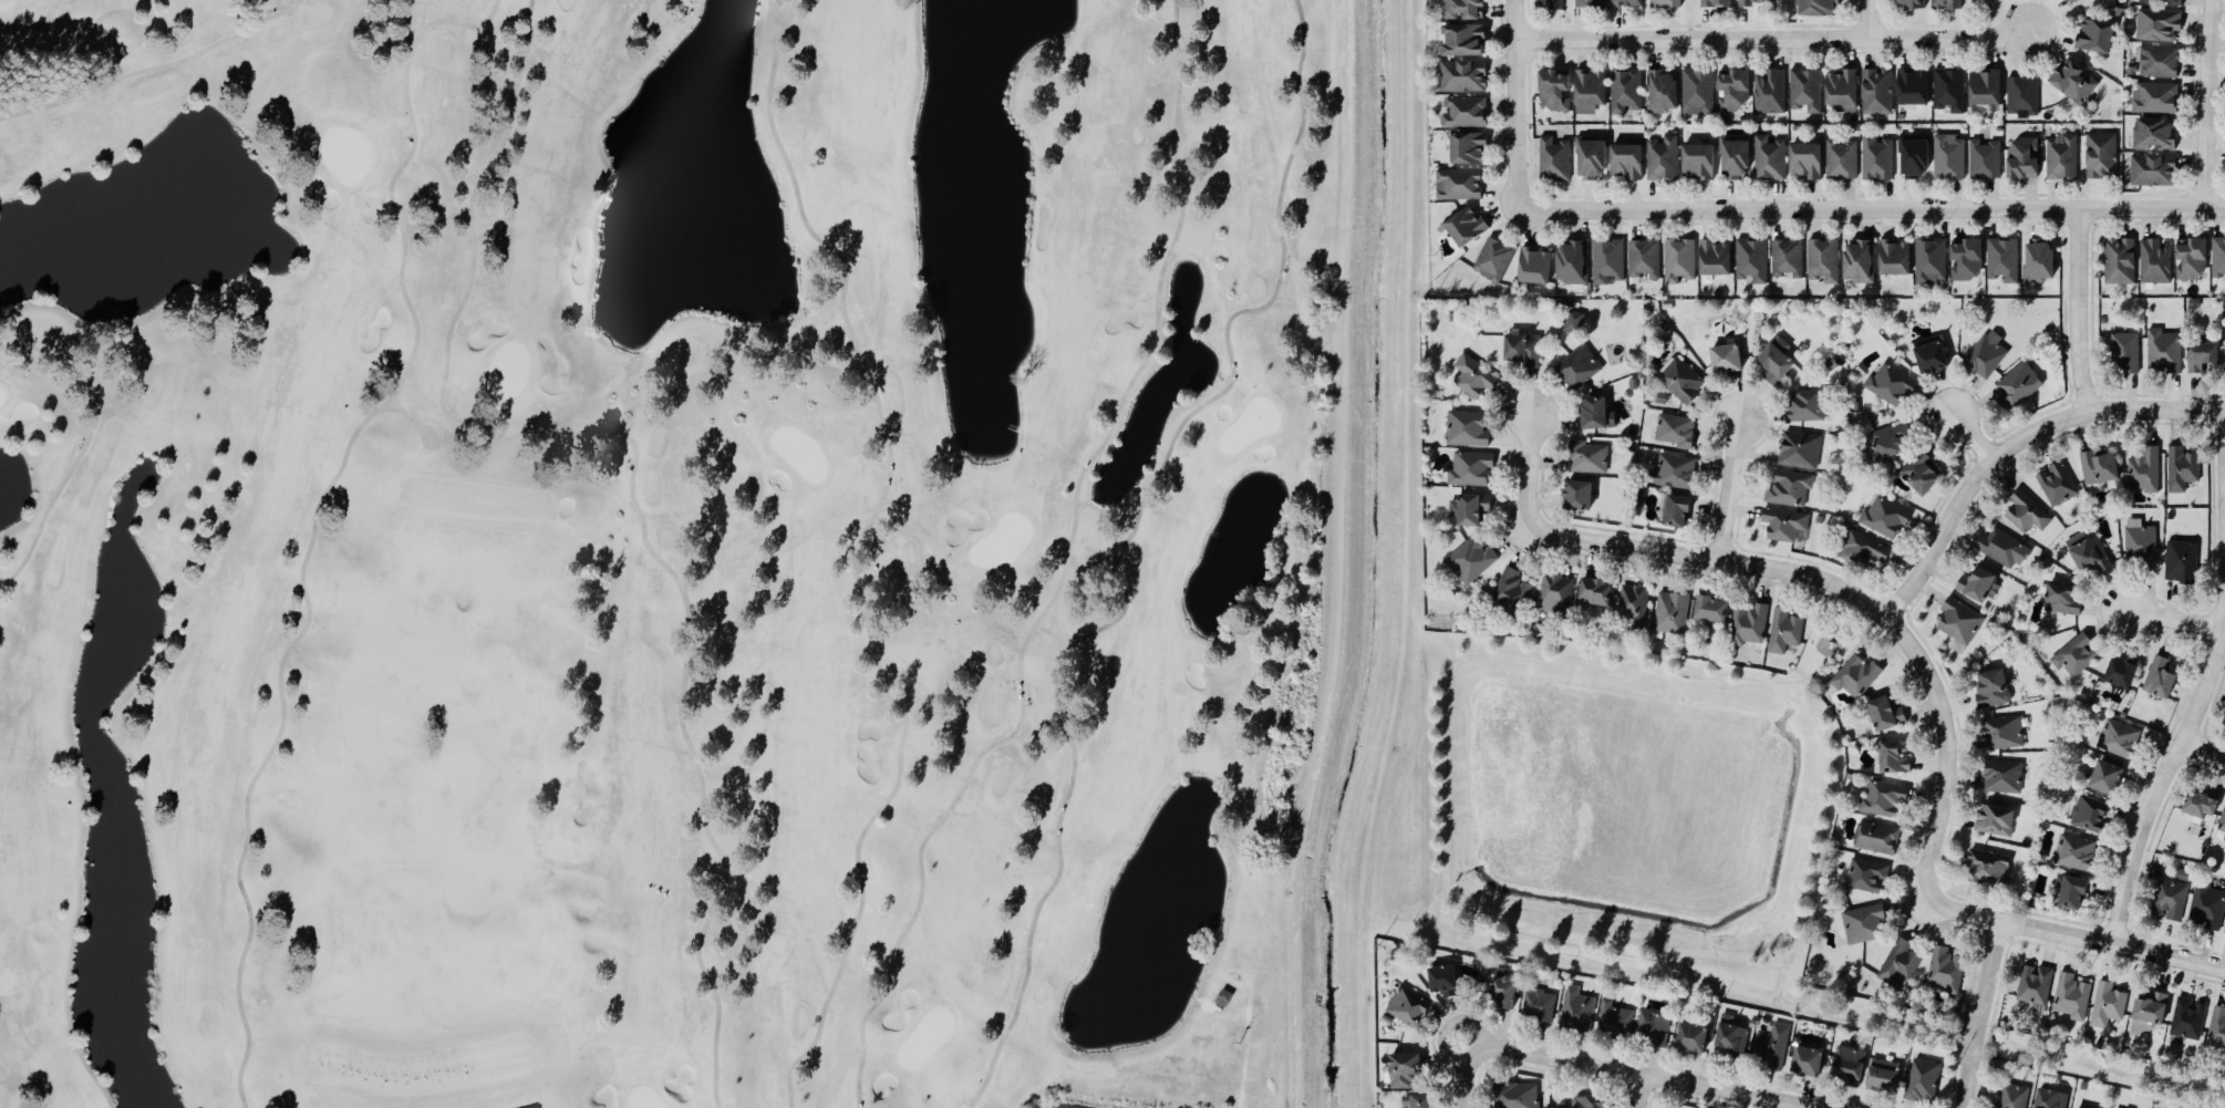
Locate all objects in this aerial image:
building: (2076, 1)
building: (1627, 2)
building: (1749, 2)
building: (2162, 2)
building: (1550, 3)
building: (1591, 3)
building: (1665, 3)
building: (1716, 3)
building: (1908, 3)
building: (1947, 4)
building: (1815, 7)
building: (1463, 9)
road: (1876, 21)
building: (2159, 24)
building: (2095, 35)
road: (82, 38)
building: (1462, 39)
road: (1774, 42)
building: (2160, 62)
road: (154, 66)
building: (1462, 76)
building: (2074, 81)
building: (1913, 87)
building: (1985, 89)
building: (1732, 90)
building: (1807, 90)
building: (1842, 90)
building: (1949, 90)
building: (1625, 91)
building: (1663, 91)
building: (1553, 92)
building: (1588, 92)
building: (1698, 92)
building: (1770, 92)
building: (1877, 92)
building: (2022, 95)
building: (2155, 97)
road: (2212, 103)
road: (1520, 105)
building: (1466, 113)
building: (1999, 128)
building: (2154, 134)
building: (1467, 147)
building: (2101, 155)
building: (1949, 157)
building: (2062, 157)
building: (1663, 158)
building: (1769, 158)
building: (1877, 158)
building: (2022, 158)
building: (1554, 159)
building: (1591, 159)
building: (1735, 159)
building: (1842, 159)
building: (1985, 159)
building: (1626, 160)
building: (1805, 160)
building: (1697, 162)
building: (2153, 170)
building: (1459, 185)
road: (1873, 209)
building: (1465, 227)
building: (1644, 258)
building: (1715, 258)
building: (1788, 258)
building: (1894, 258)
building: (2218, 258)
building: (1493, 259)
building: (2191, 259)
building: (1607, 260)
building: (1679, 260)
building: (1752, 260)
building: (1823, 260)
building: (1966, 260)
building: (2002, 260)
building: (1859, 261)
building: (1931, 261)
building: (2038, 261)
building: (2119, 261)
building: (2155, 261)
building: (1572, 262)
building: (1533, 266)
road: (2082, 311)
building: (1574, 321)
building: (1522, 349)
building: (2164, 351)
building: (2125, 353)
building: (1987, 355)
building: (2202, 355)
building: (1931, 358)
building: (1725, 359)
building: (1776, 360)
building: (1831, 365)
building: (1579, 367)
building: (1861, 370)
building: (1474, 376)
building: (1680, 379)
building: (1891, 385)
building: (2018, 386)
building: (1805, 406)
building: (1596, 414)
building: (1466, 429)
building: (1675, 431)
road: (1973, 437)
building: (1891, 439)
road: (2014, 444)
road: (83, 446)
building: (1800, 449)
building: (1587, 458)
building: (2099, 468)
building: (1470, 469)
building: (2144, 469)
building: (2181, 469)
building: (1676, 472)
road: (1529, 473)
building: (1921, 474)
road: (632, 476)
building: (2057, 485)
building: (1790, 488)
road: (1729, 489)
building: (1576, 496)
building: (1469, 509)
building: (1677, 510)
road: (315, 512)
building: (2027, 512)
building: (1885, 517)
building: (1784, 525)
building: (2140, 540)
road: (1122, 548)
building: (2004, 548)
park: (658, 549)
building: (1865, 550)
building: (2088, 552)
road: (855, 553)
building: (1471, 560)
building: (2182, 561)
road: (1777, 568)
road: (1064, 572)
building: (1978, 586)
building: (1511, 589)
building: (1594, 592)
building: (1555, 593)
building: (2061, 600)
building: (1634, 603)
building: (1710, 610)
building: (1673, 613)
road: (2175, 614)
building: (1959, 623)
building: (1750, 624)
building: (1784, 632)
park: (1830, 641)
building: (2076, 655)
building: (2120, 674)
building: (1856, 676)
building: (2160, 679)
building: (1991, 688)
building: (1885, 714)
building: (2224, 723)
building: (2004, 733)
building: (2120, 739)
road: (2198, 749)
road: (2163, 757)
building: (1893, 759)
building: (2004, 777)
building: (2105, 778)
building: (1882, 798)
building: (2201, 806)
building: (2089, 815)
building: (1995, 821)
building: (2222, 824)
building: (1877, 838)
building: (2224, 840)
building: (2076, 852)
building: (1988, 867)
building: (1867, 876)
building: (2072, 893)
building: (2170, 900)
building: (2029, 902)
building: (2207, 907)
building: (1822, 908)
road: (1987, 918)
building: (1862, 925)
building: (1900, 964)
building: (1946, 971)
building: (1442, 980)
building: (2035, 985)
building: (1504, 993)
building: (2072, 997)
building: (1539, 1005)
building: (2108, 1005)
building: (1407, 1006)
building: (1577, 1008)
building: (2151, 1008)
road: (1979, 1014)
building: (1614, 1019)
building: (2188, 1019)
building: (1653, 1028)
building: (2217, 1029)
building: (1730, 1037)
building: (1690, 1038)
building: (1773, 1046)
building: (2224, 1054)
building: (1807, 1062)
building: (1849, 1065)
road: (1601, 1068)
building: (1403, 1071)
building: (1882, 1076)
building: (1923, 1080)
road: (1635, 1091)
building: (1517, 1096)
building: (2014, 1096)
building: (2050, 1099)
building: (1418, 1101)
building: (1587, 1102)

